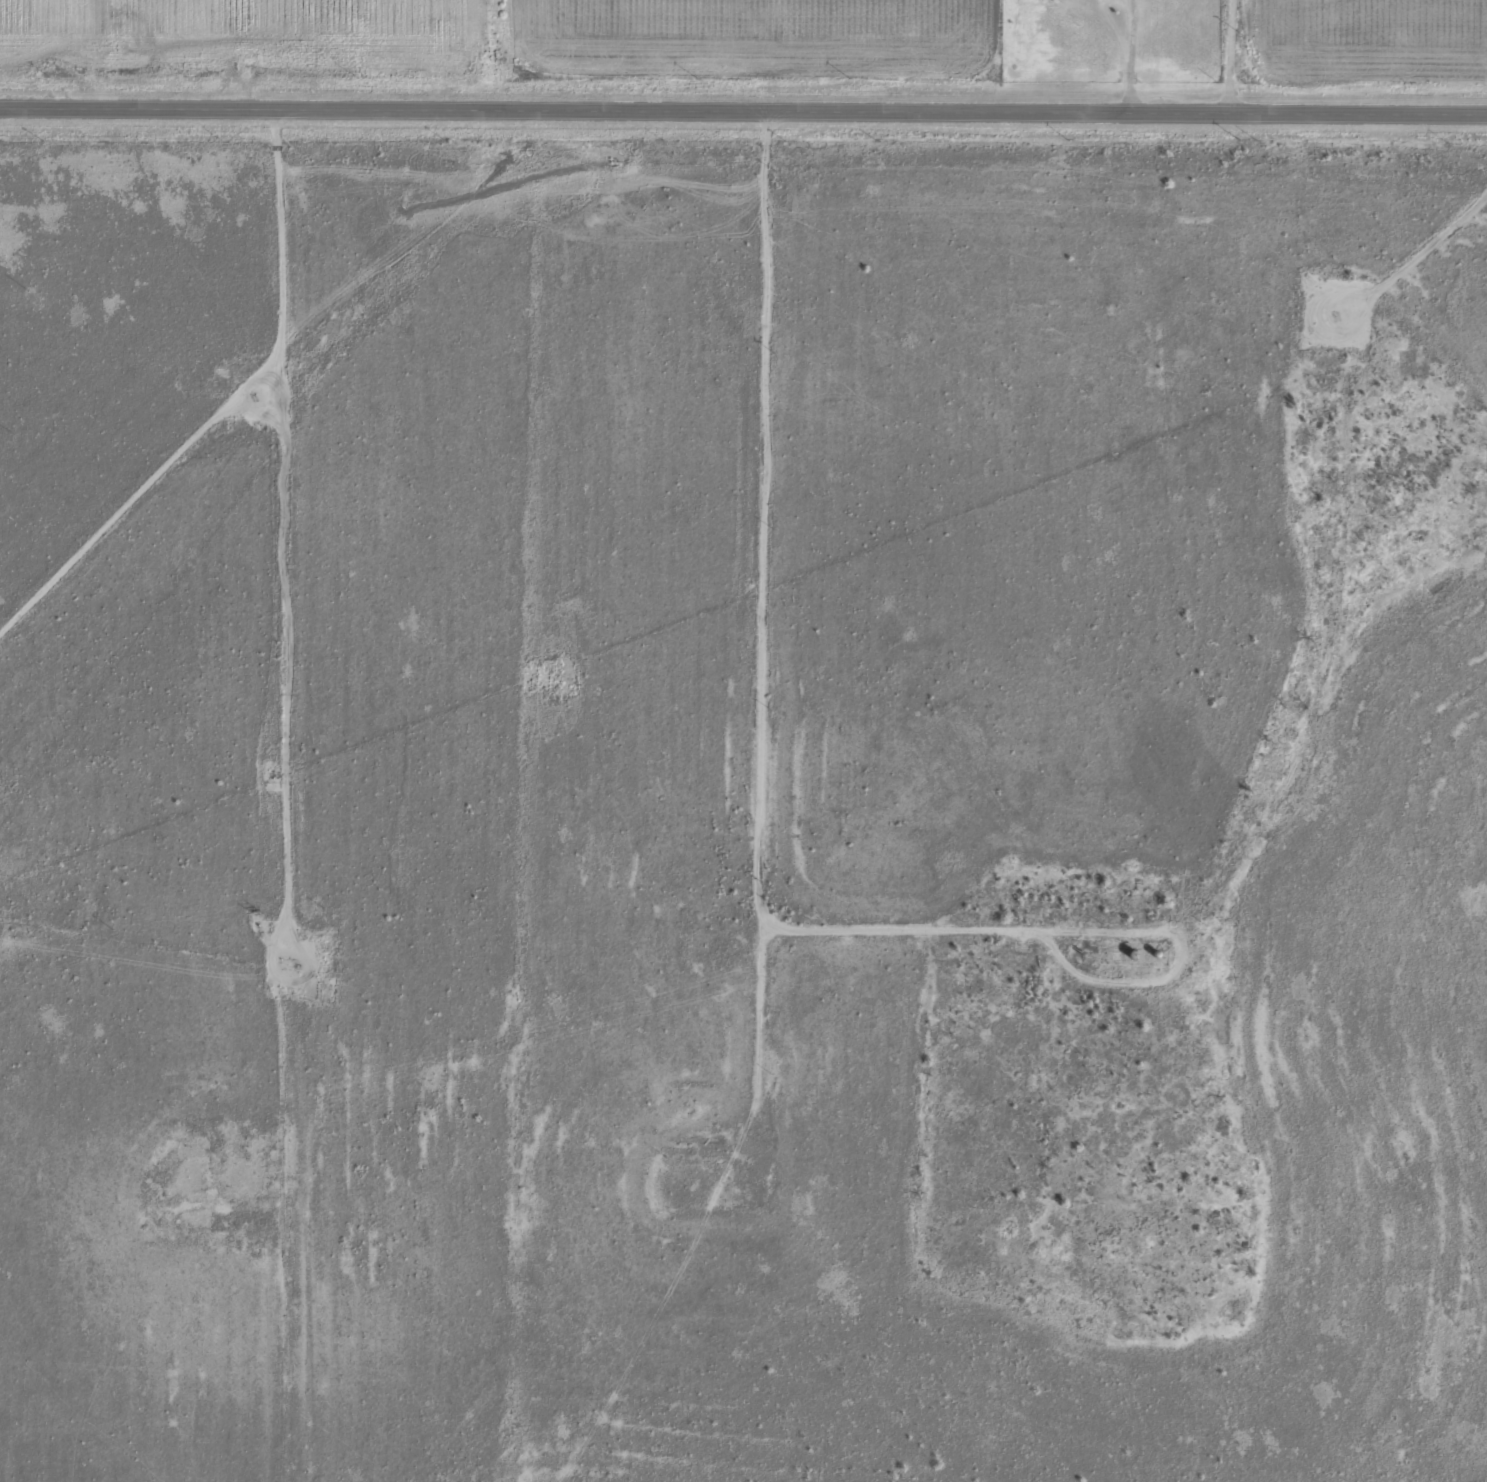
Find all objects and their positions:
road: (1233, 57)
road: (743, 112)
road: (134, 506)
road: (280, 795)
road: (863, 964)
road: (774, 1069)

